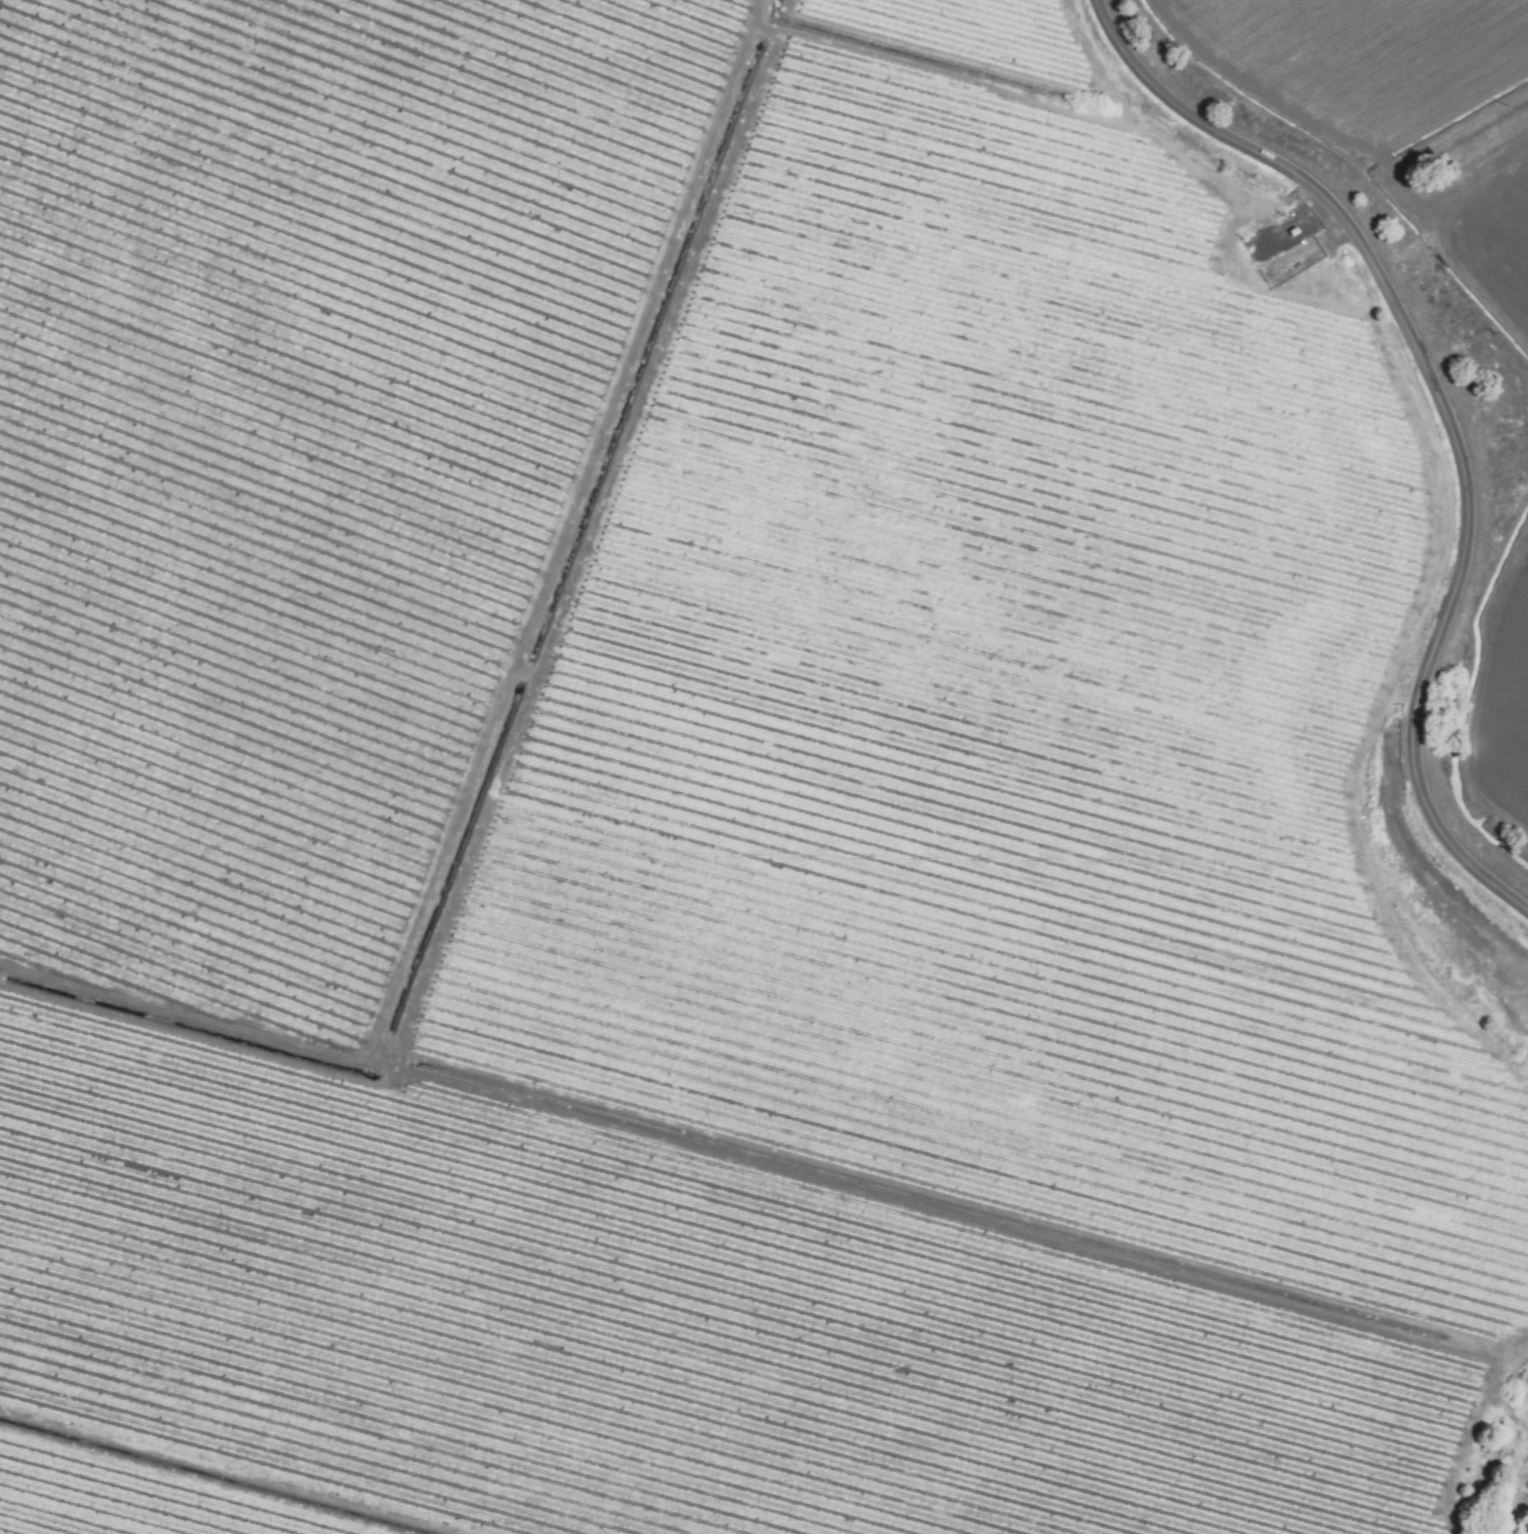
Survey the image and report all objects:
road: (1298, 115)
road: (1450, 217)
building: (1298, 234)
road: (1445, 410)
crop: (1503, 681)
crop: (729, 774)

